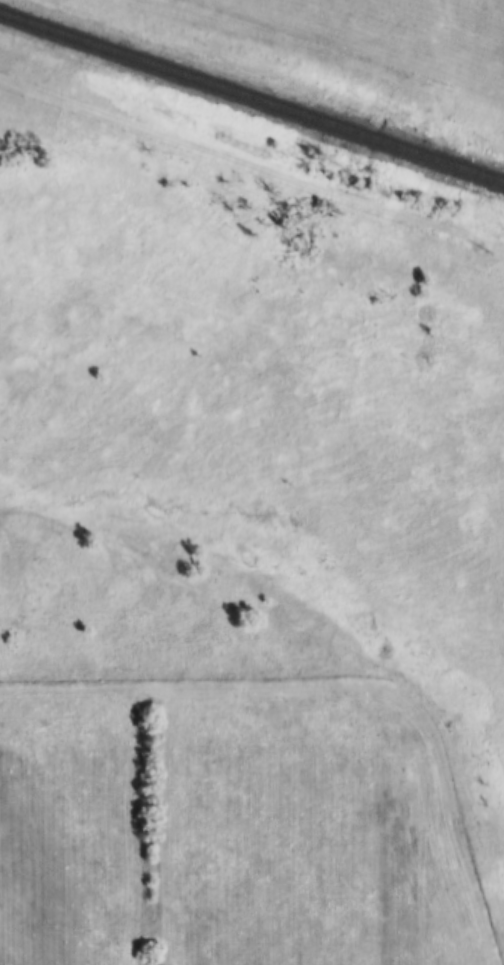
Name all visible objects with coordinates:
railway: (252, 98)

